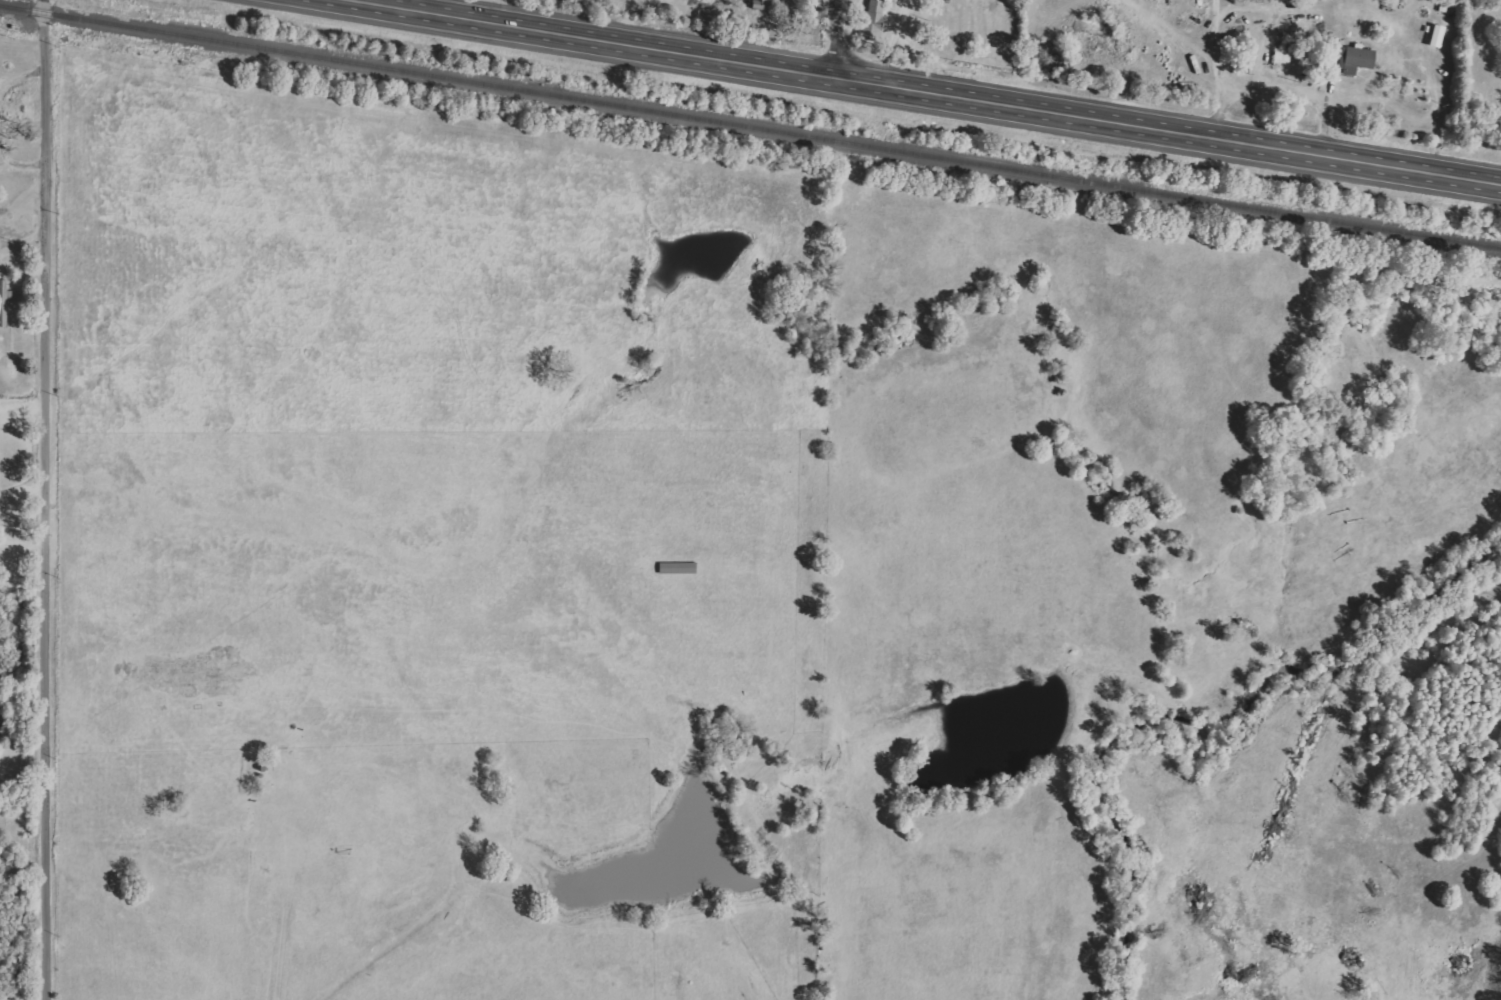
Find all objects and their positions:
road: (1271, 17)
building: (871, 20)
building: (1435, 35)
road: (835, 39)
building: (1330, 48)
building: (1282, 57)
building: (1356, 59)
road: (1259, 86)
road: (929, 93)
road: (1216, 111)
railway: (750, 125)
road: (35, 277)
building: (7, 290)
building: (677, 568)
road: (31, 777)

